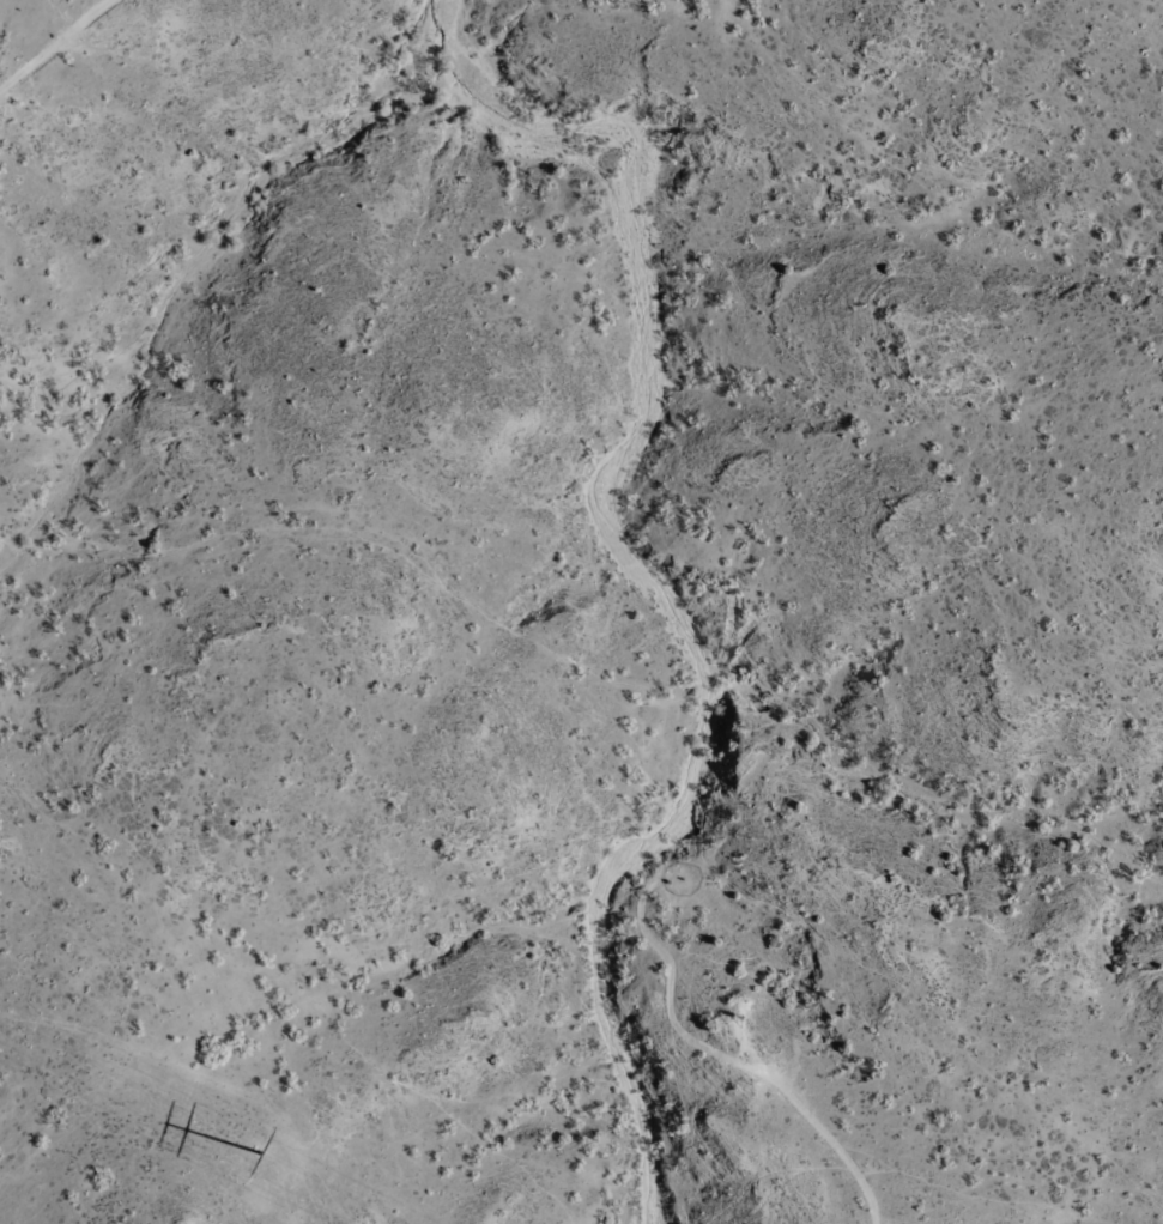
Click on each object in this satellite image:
road: (57, 46)
power tower: (260, 1150)

